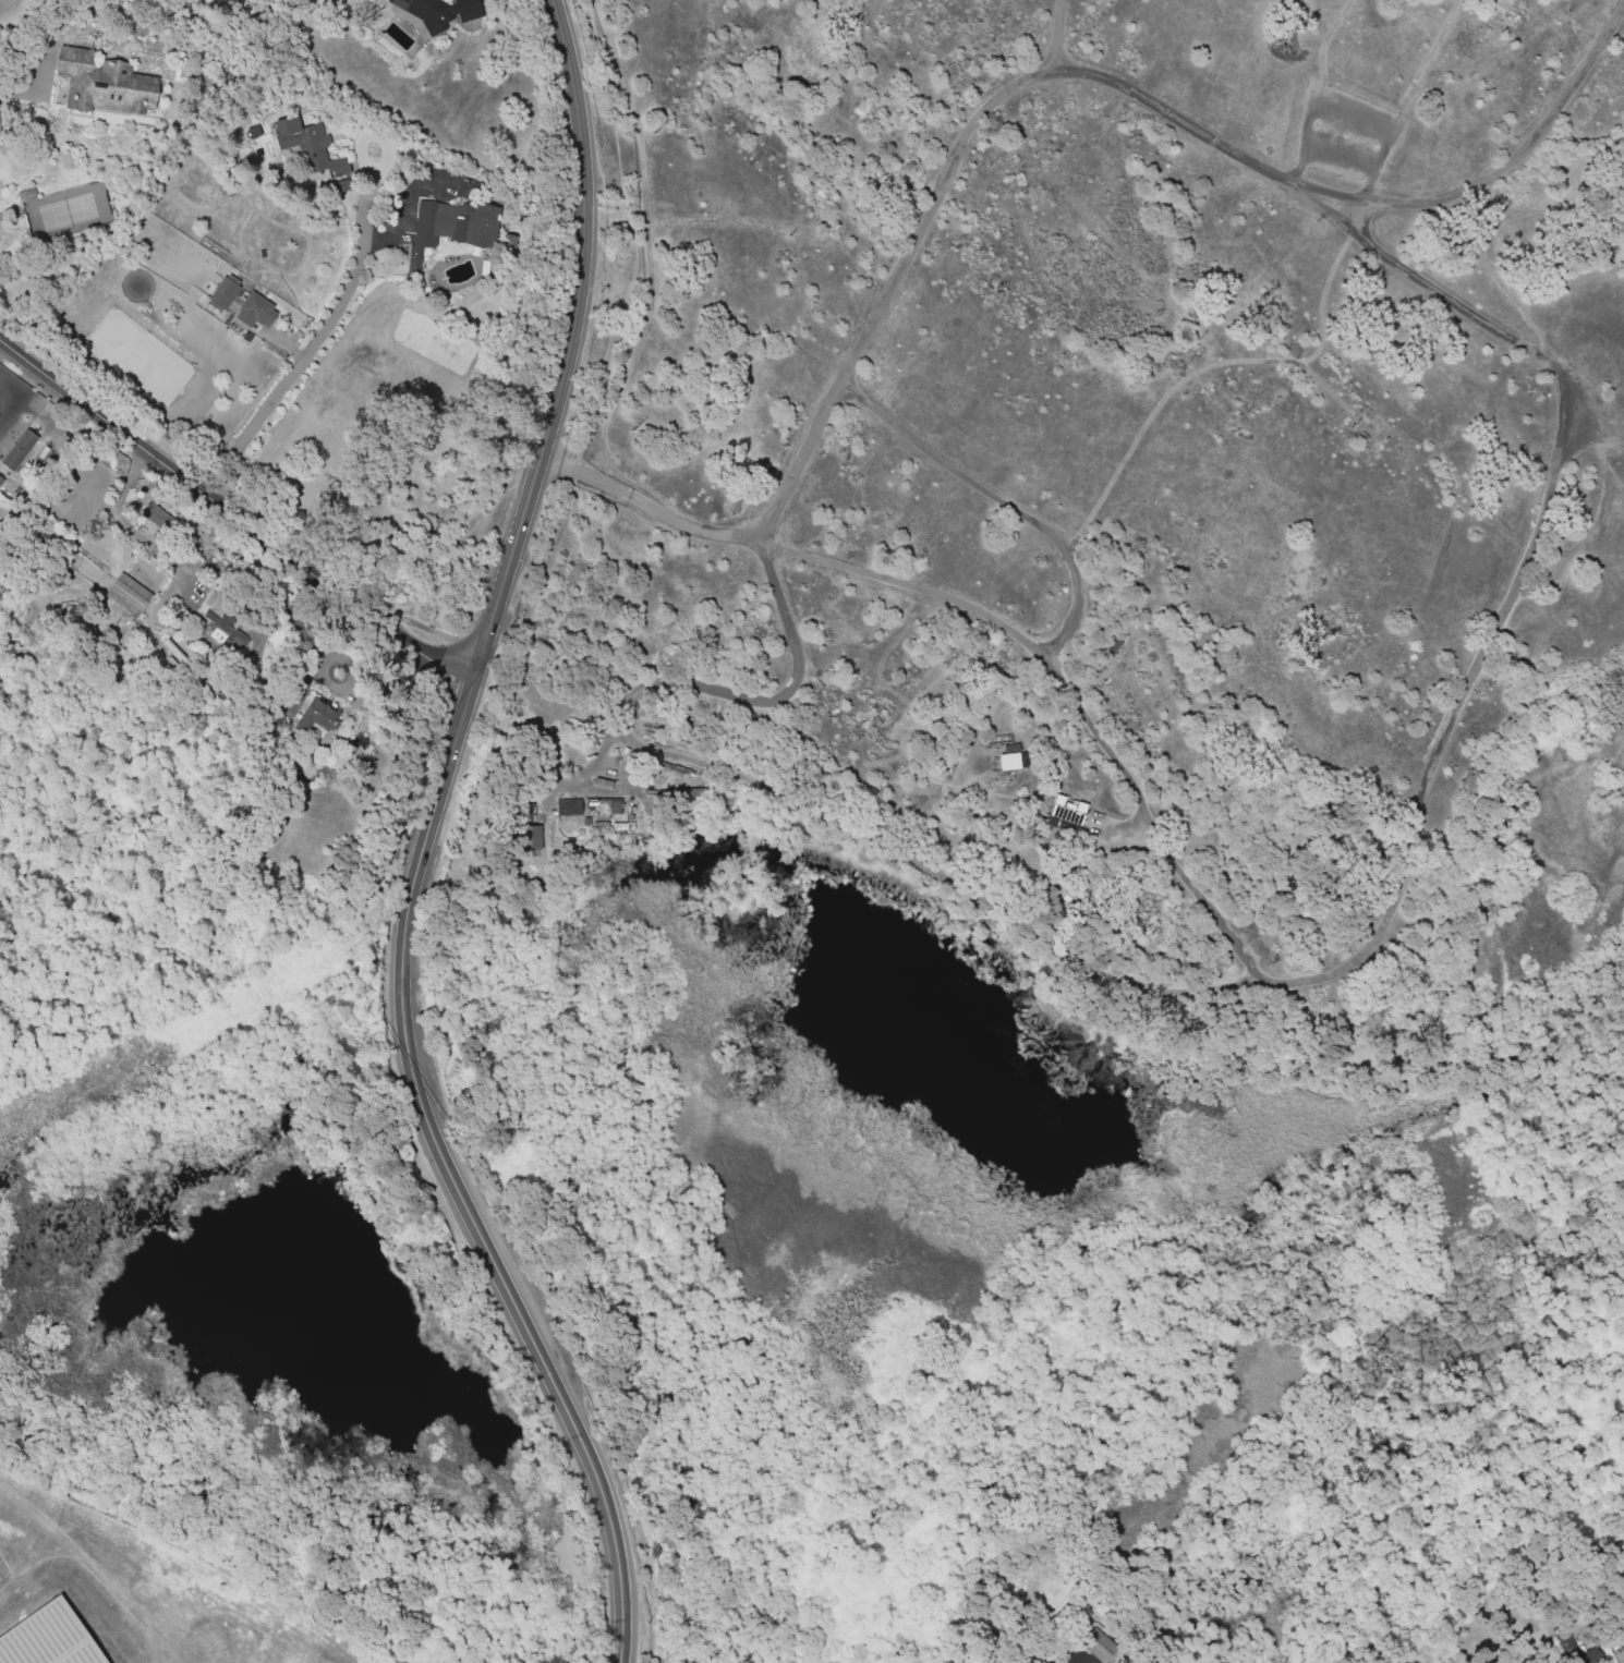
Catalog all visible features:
building: (438, 13)
road: (1053, 43)
building: (105, 86)
parking lot: (1344, 129)
building: (310, 146)
road: (1228, 147)
road: (1494, 173)
building: (27, 197)
road: (401, 208)
building: (457, 226)
building: (509, 244)
building: (407, 250)
building: (417, 255)
building: (222, 292)
building: (258, 311)
road: (318, 332)
road: (570, 344)
building: (1349, 417)
road: (1596, 432)
building: (1362, 437)
building: (19, 451)
building: (208, 456)
building: (0, 478)
building: (1, 482)
road: (999, 499)
road: (232, 513)
building: (162, 519)
building: (128, 595)
building: (217, 603)
road: (981, 610)
building: (1115, 647)
road: (882, 648)
building: (987, 707)
building: (702, 711)
building: (665, 717)
building: (317, 719)
building: (561, 731)
building: (1009, 757)
building: (1072, 801)
building: (570, 810)
building: (604, 810)
building: (1051, 810)
building: (1042, 820)
building: (587, 824)
building: (625, 828)
building: (529, 839)
building: (591, 839)
building: (1293, 887)
road: (1037, 940)
road: (1199, 987)
road: (1435, 988)
road: (1317, 1028)
road: (452, 1180)
building: (49, 1637)
park: (49, 1637)
building: (1098, 1646)
building: (1589, 1658)

